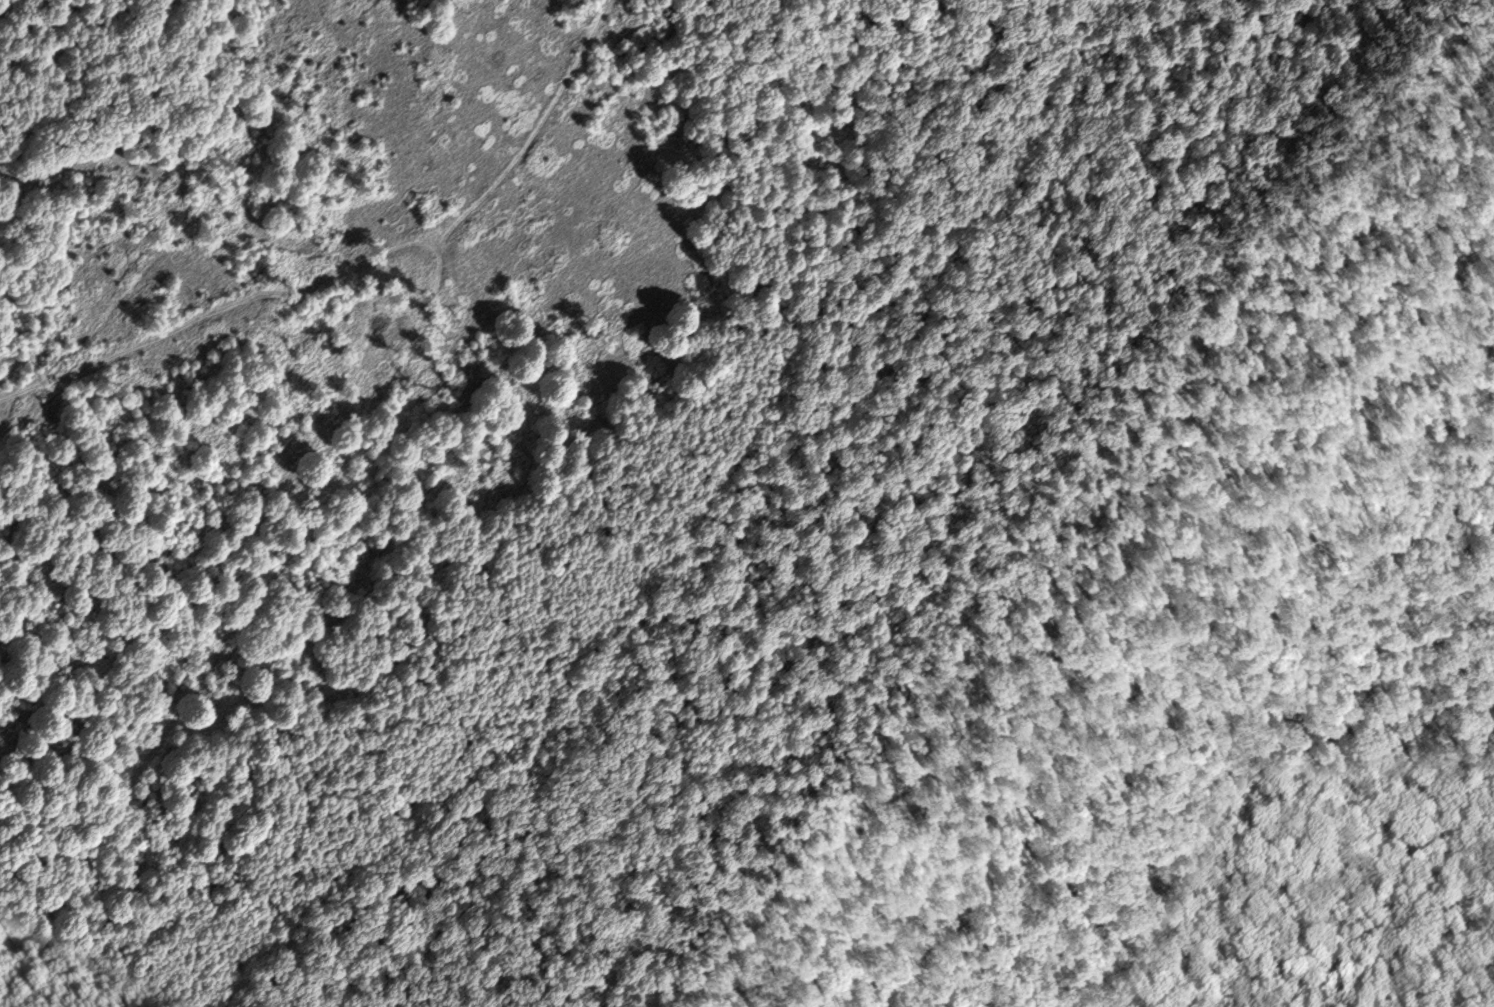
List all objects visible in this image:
road: (365, 271)

